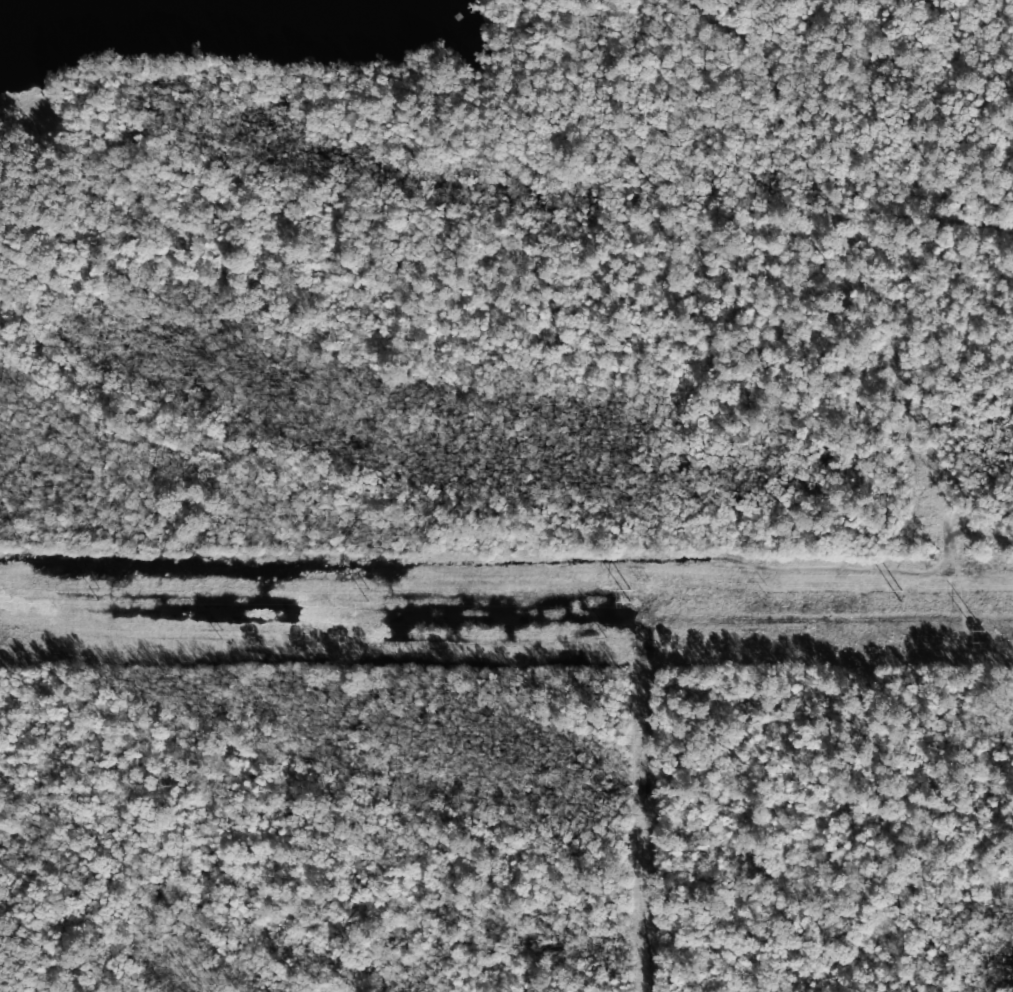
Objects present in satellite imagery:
power tower: (611, 639)

